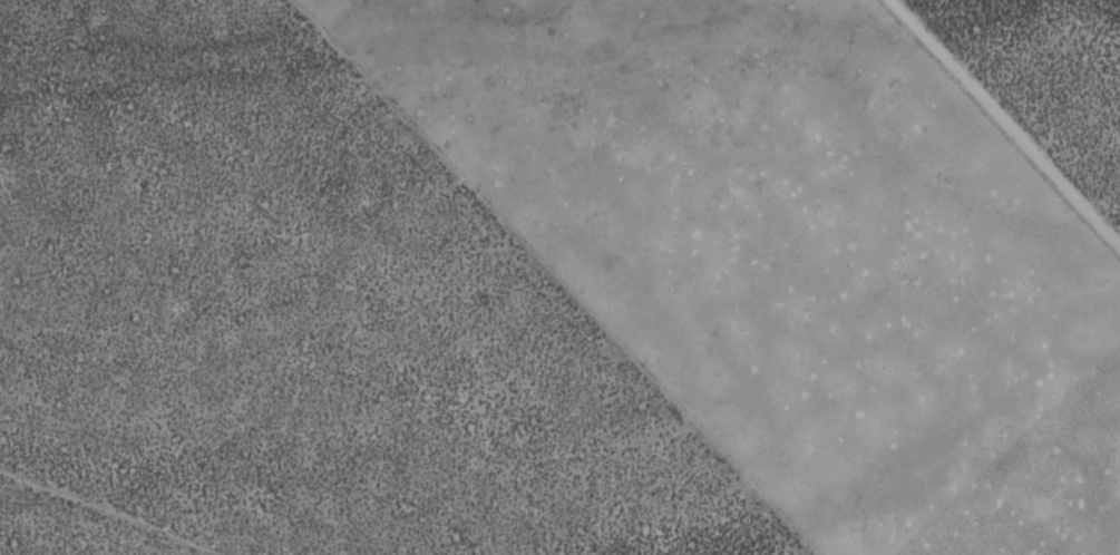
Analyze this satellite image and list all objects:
road: (1005, 123)
road: (98, 514)

